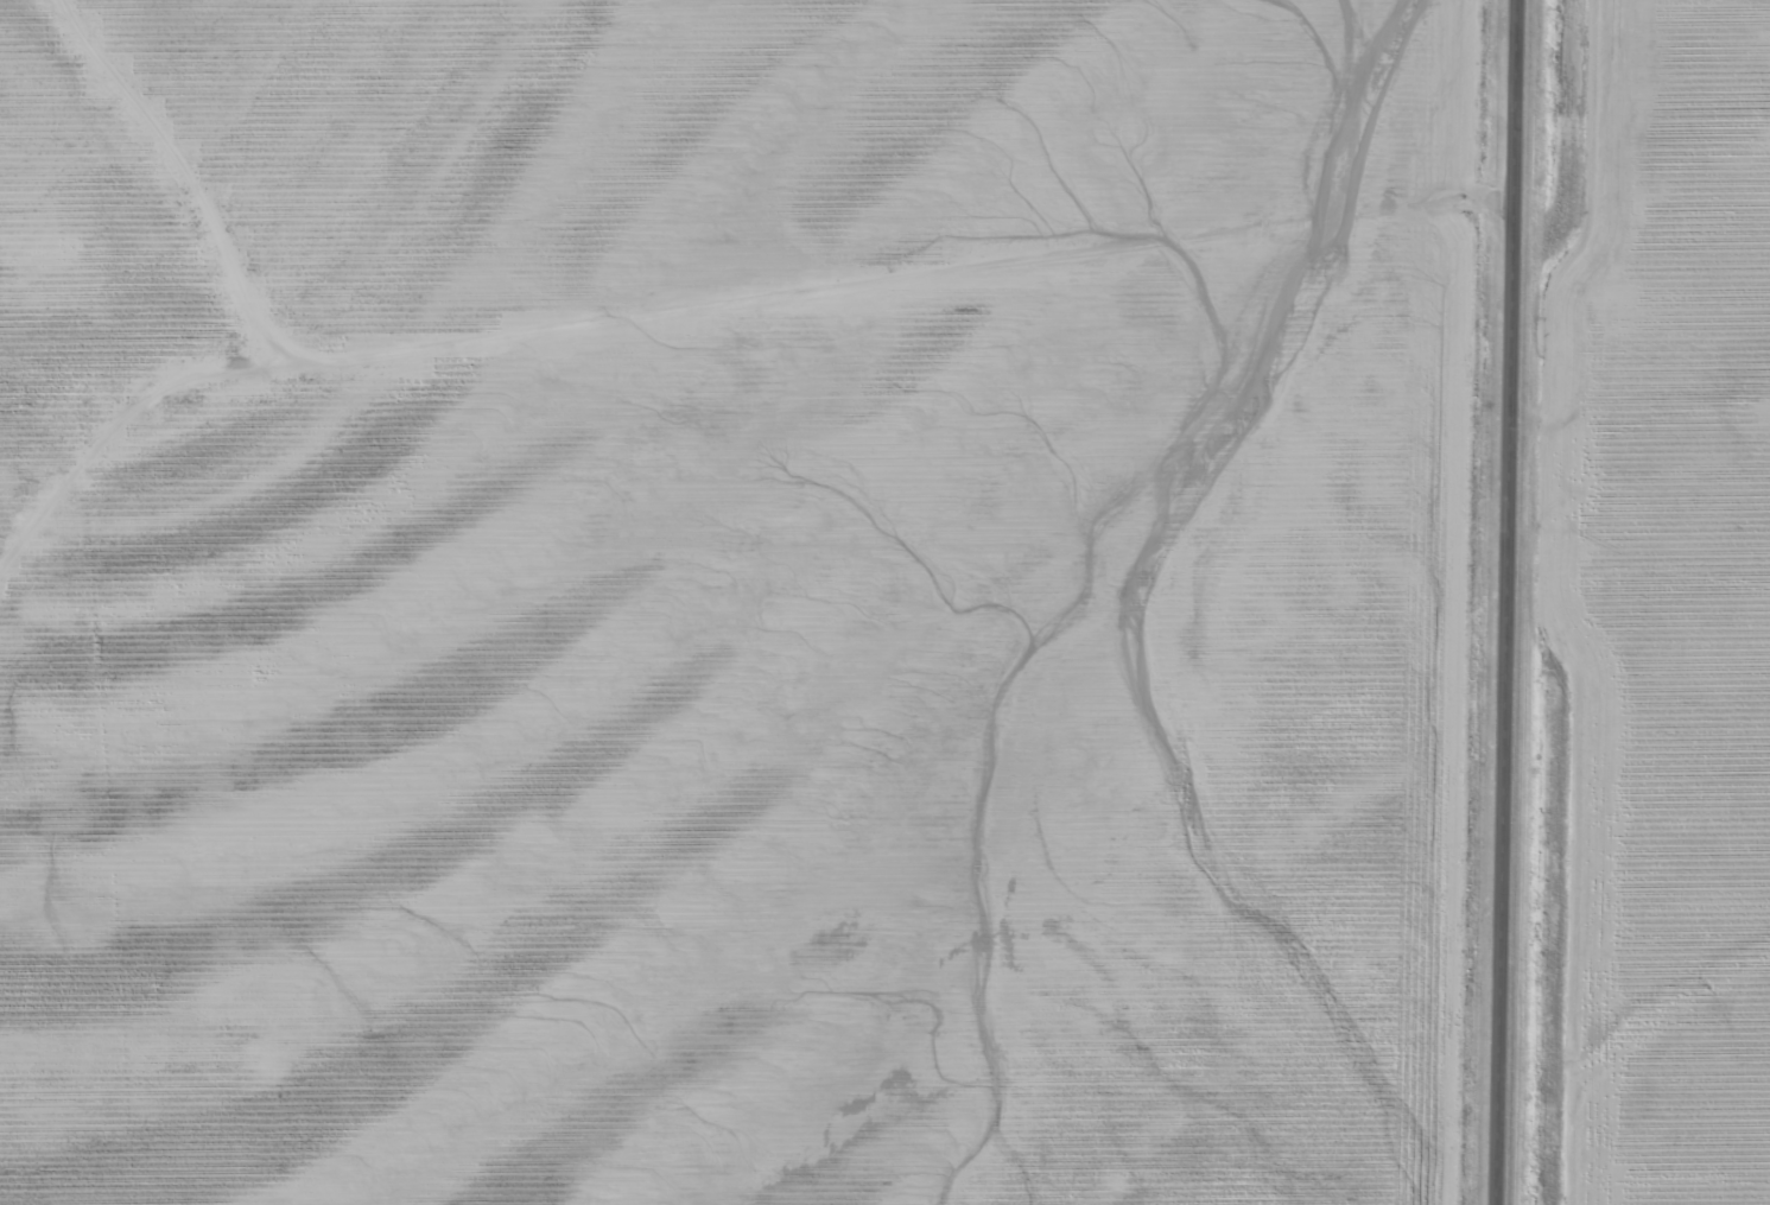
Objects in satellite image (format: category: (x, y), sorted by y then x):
road: (172, 166)
road: (709, 286)
road: (1508, 602)

